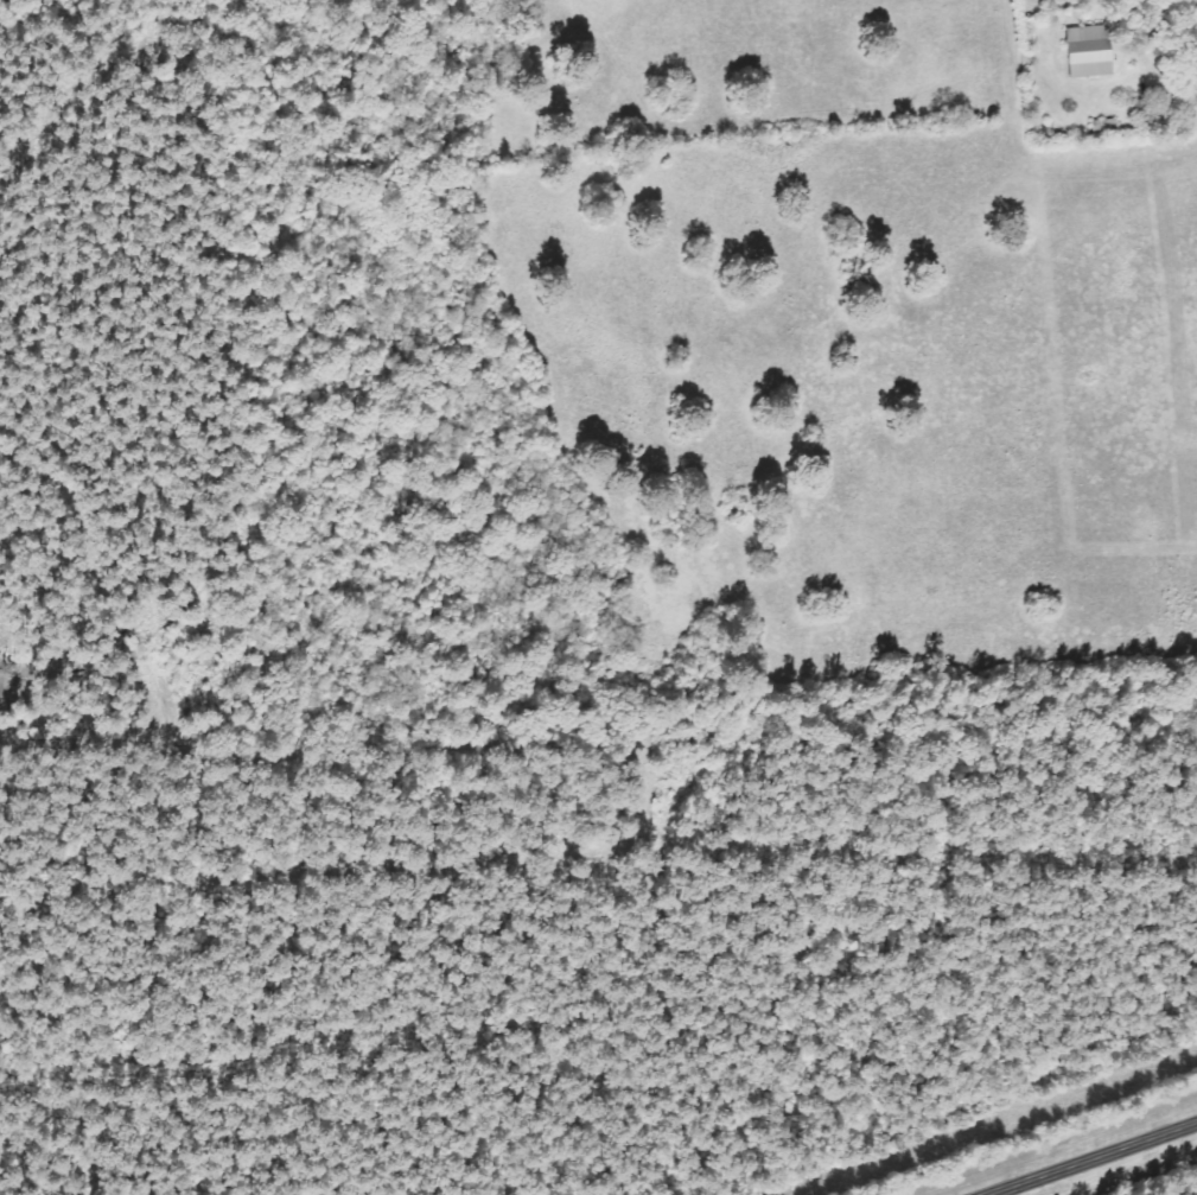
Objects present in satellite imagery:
building: (1085, 52)
road: (1126, 217)
road: (929, 776)
road: (1093, 1158)

